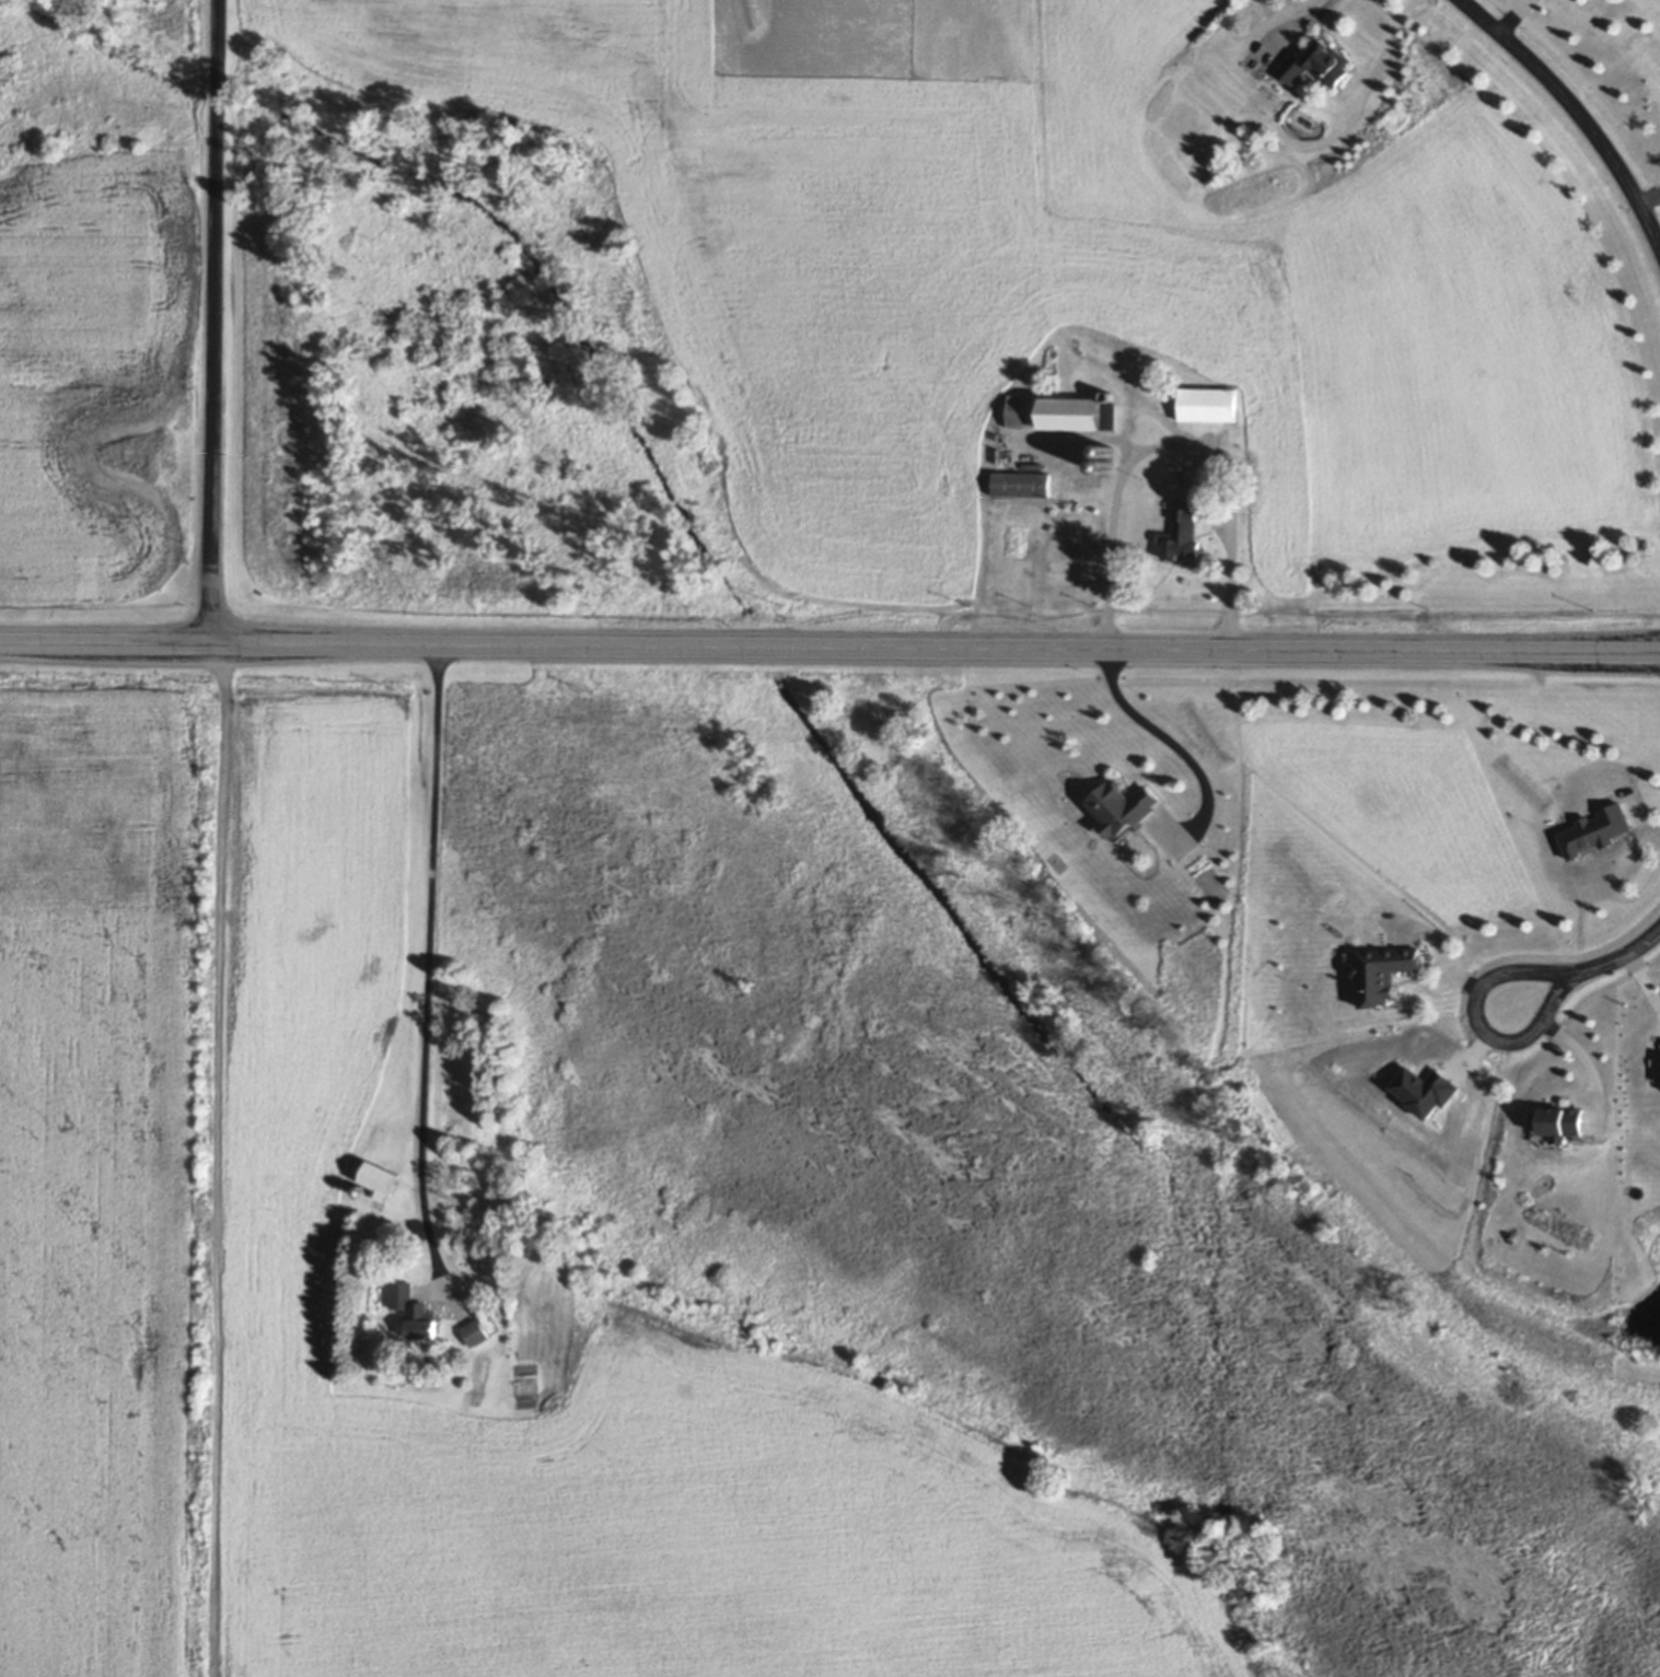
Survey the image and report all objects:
road: (1512, 18)
road: (1301, 21)
building: (1316, 68)
road: (1574, 110)
road: (1650, 201)
road: (218, 321)
building: (1210, 406)
building: (1061, 415)
road: (1172, 445)
building: (1021, 486)
building: (1186, 533)
road: (829, 645)
road: (1172, 742)
building: (1125, 810)
road: (1617, 958)
road: (430, 970)
building: (1385, 974)
road: (1476, 1023)
building: (1567, 1122)
building: (390, 1181)
building: (417, 1315)
building: (481, 1332)

